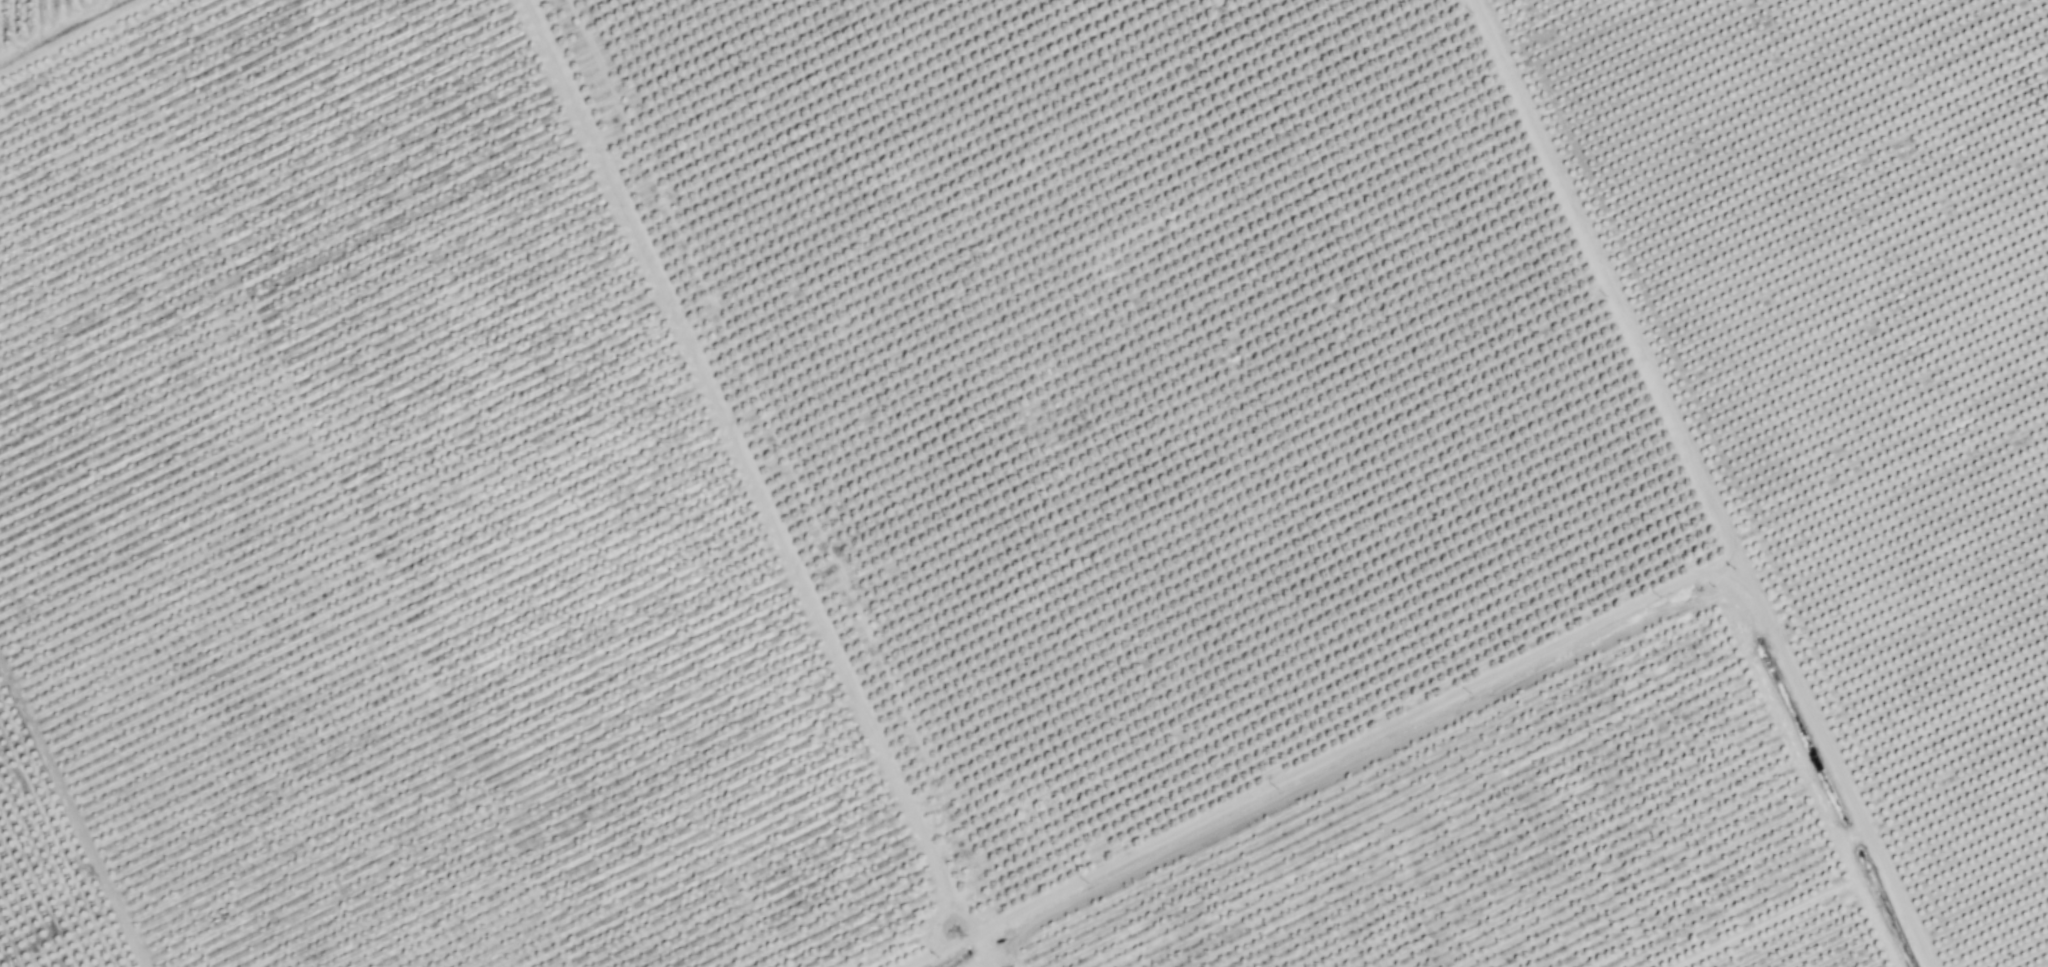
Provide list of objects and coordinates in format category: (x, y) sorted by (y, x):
road: (121, 79)
road: (753, 467)
road: (1659, 481)
road: (1356, 745)
road: (944, 951)
road: (983, 951)

